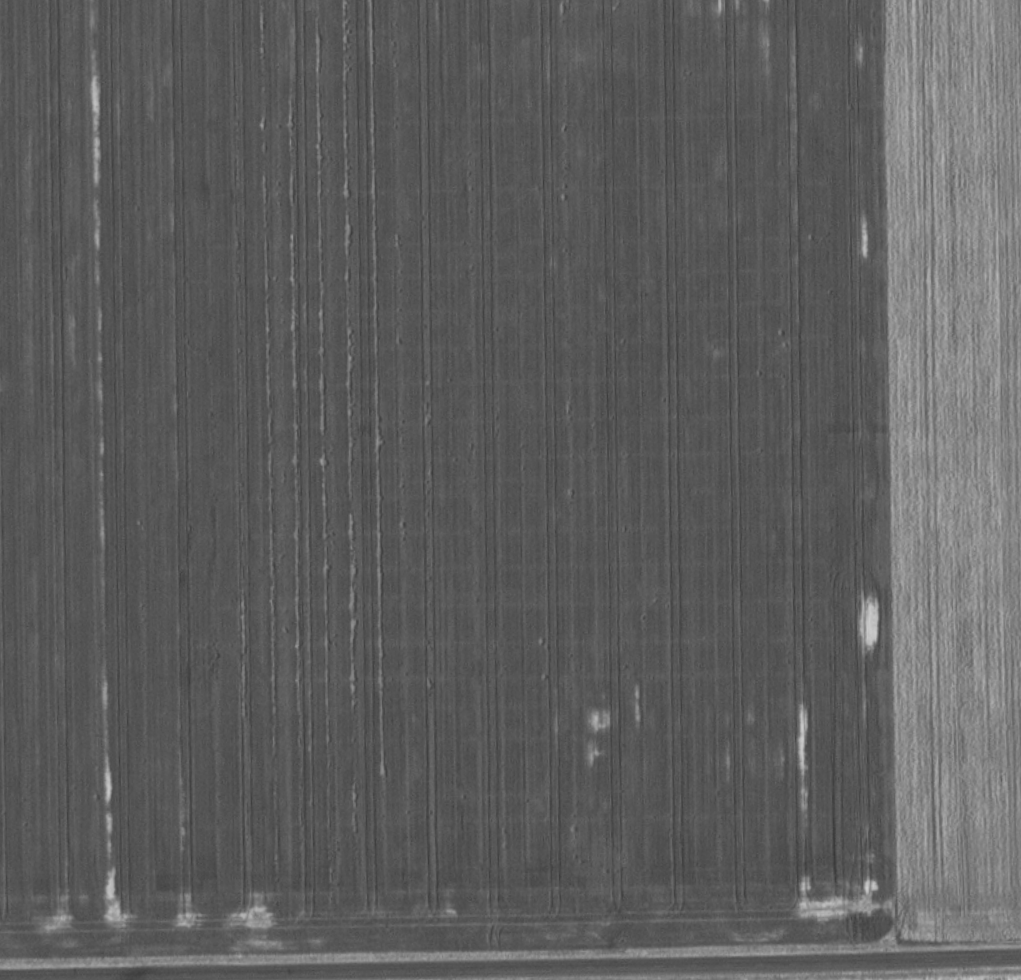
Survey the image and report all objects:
crop: (508, 474)
road: (590, 971)

